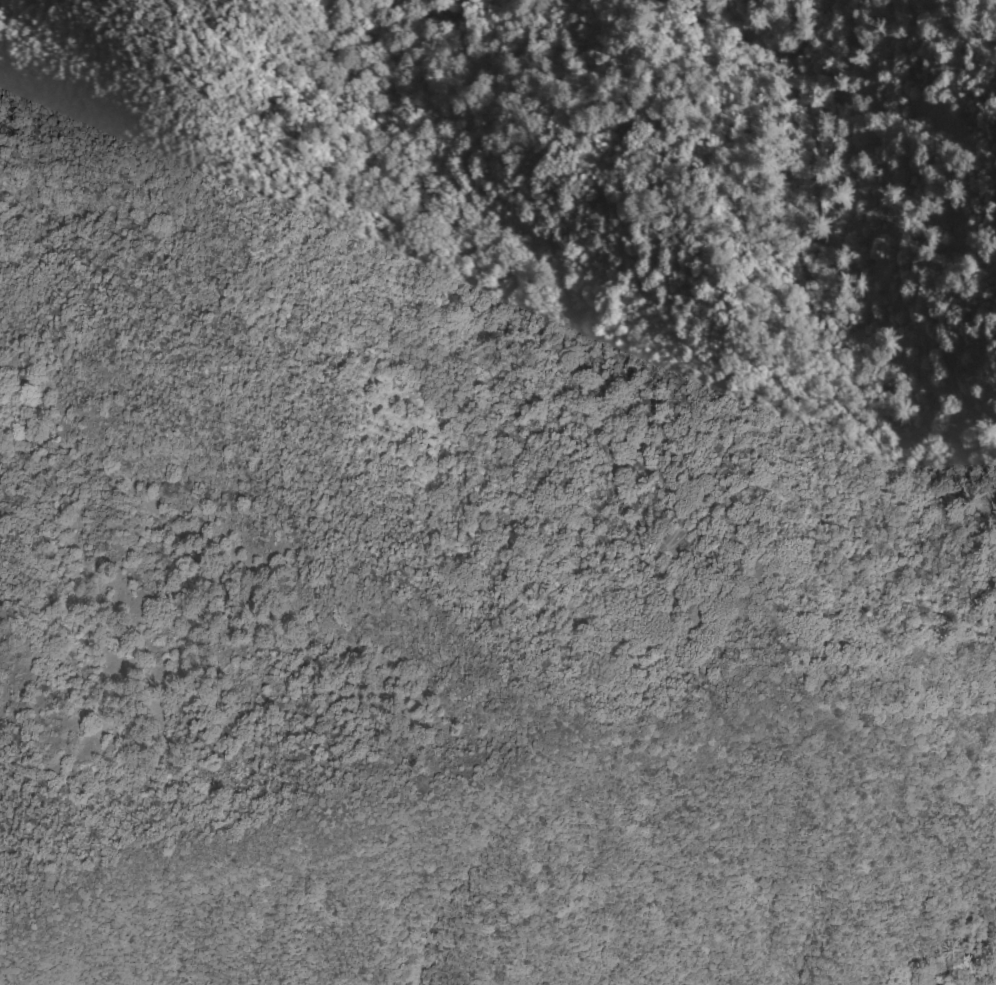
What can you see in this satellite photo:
road: (736, 437)

